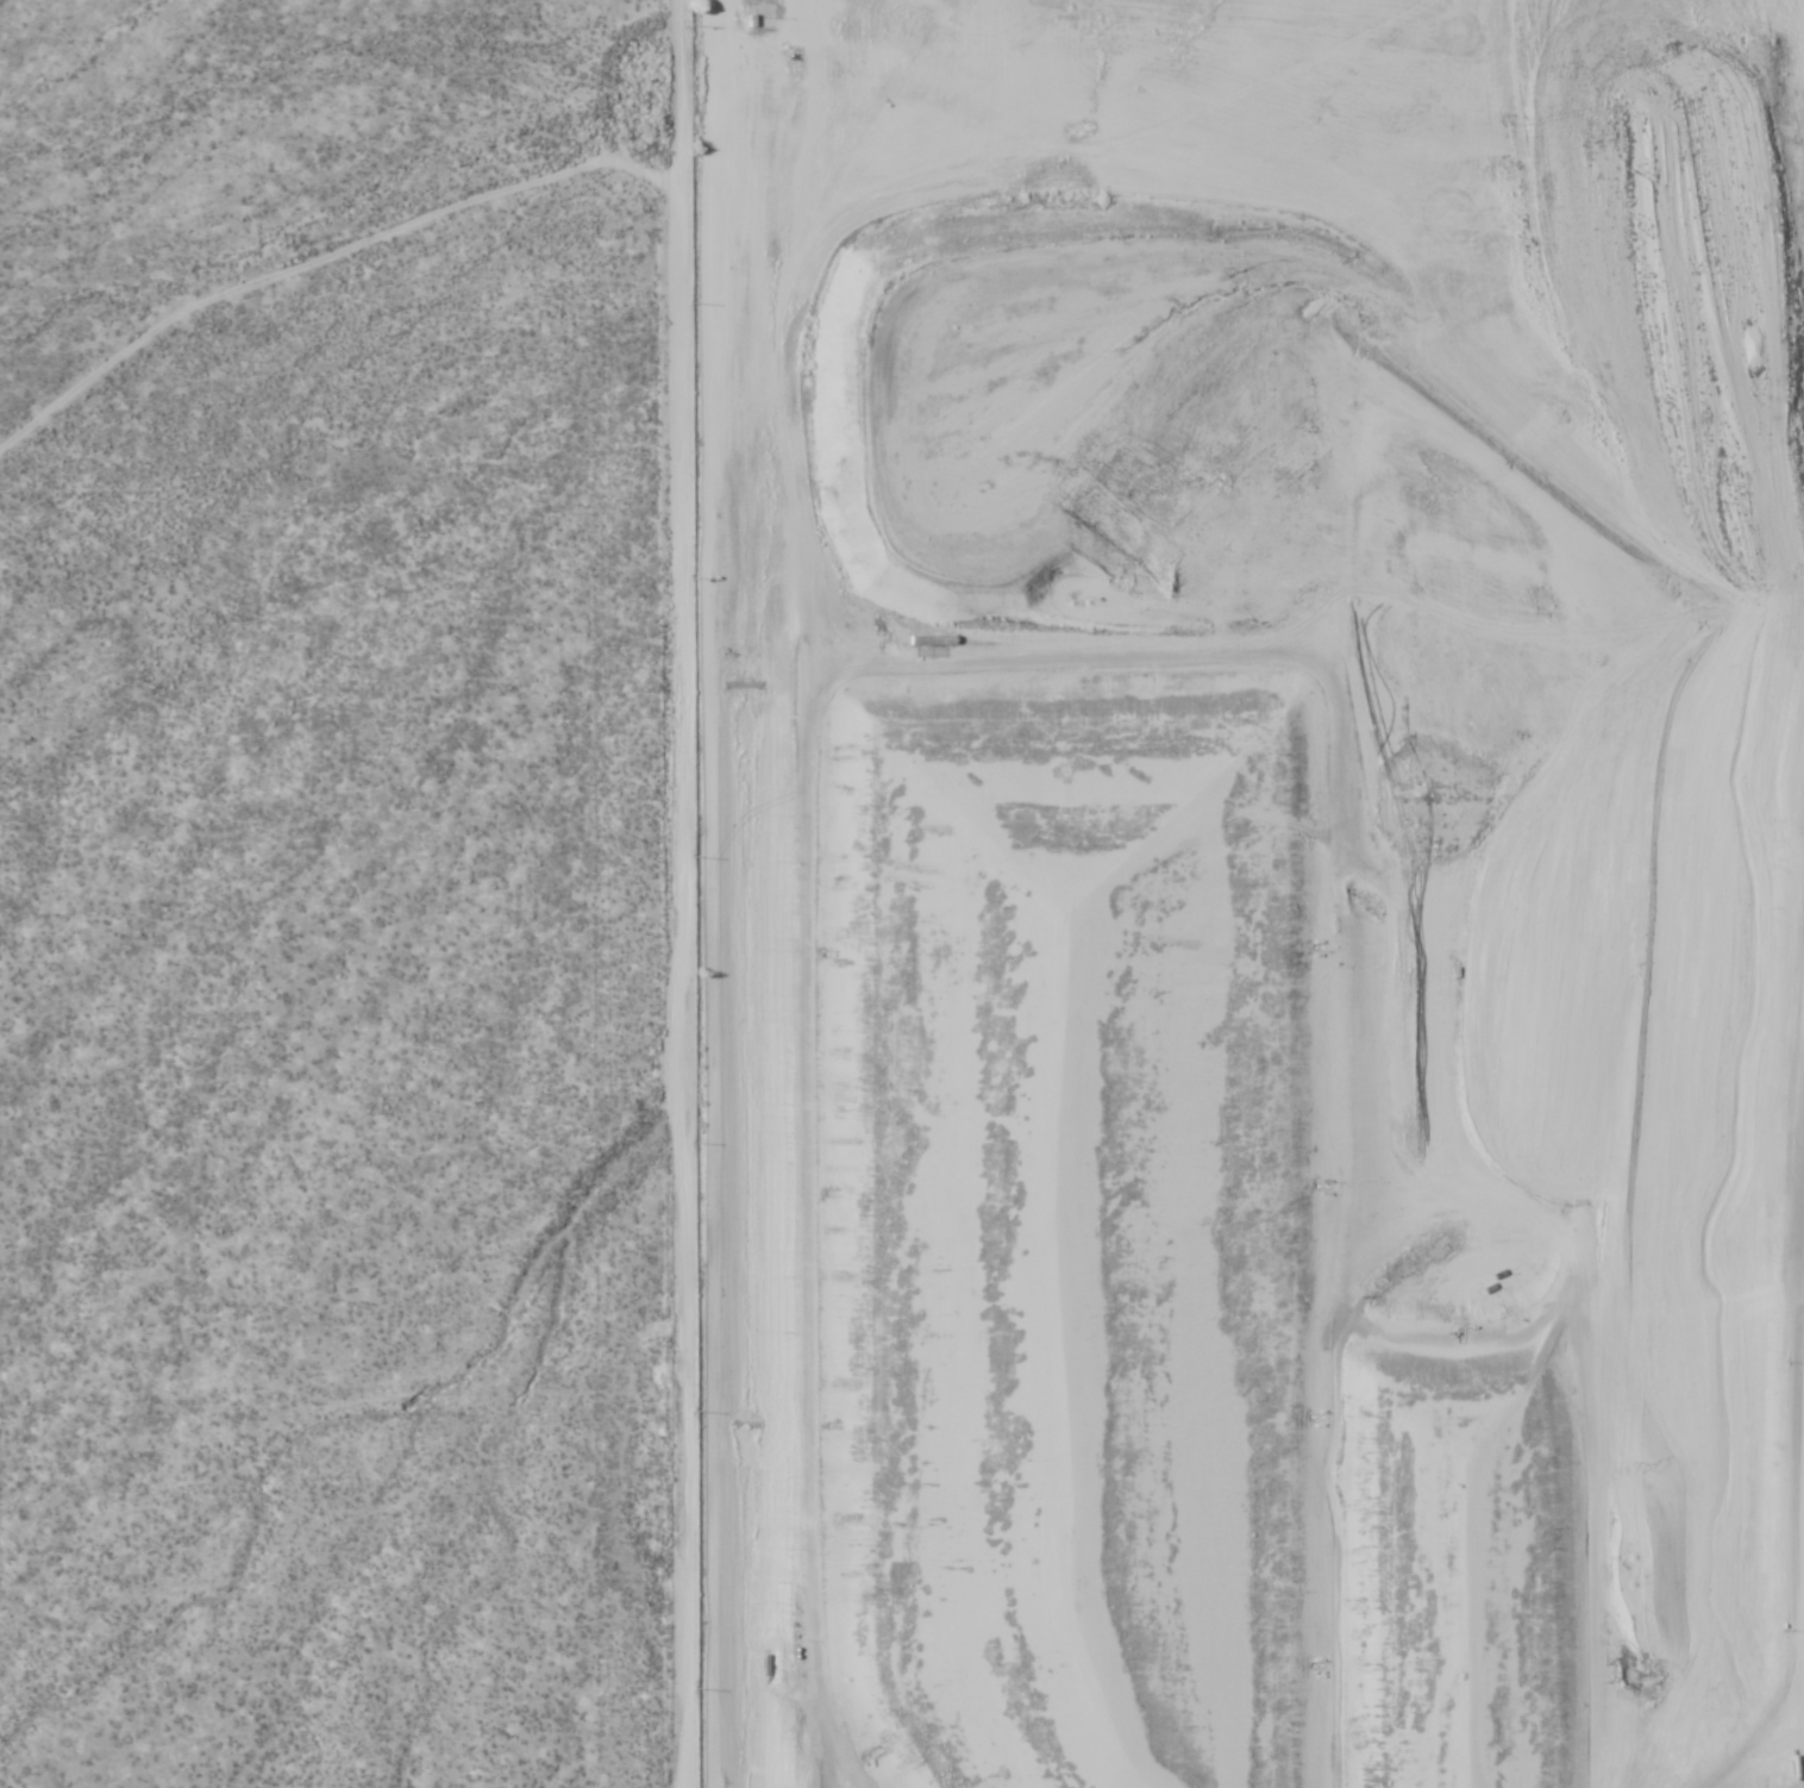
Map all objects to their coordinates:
landfill: (1221, 894)

